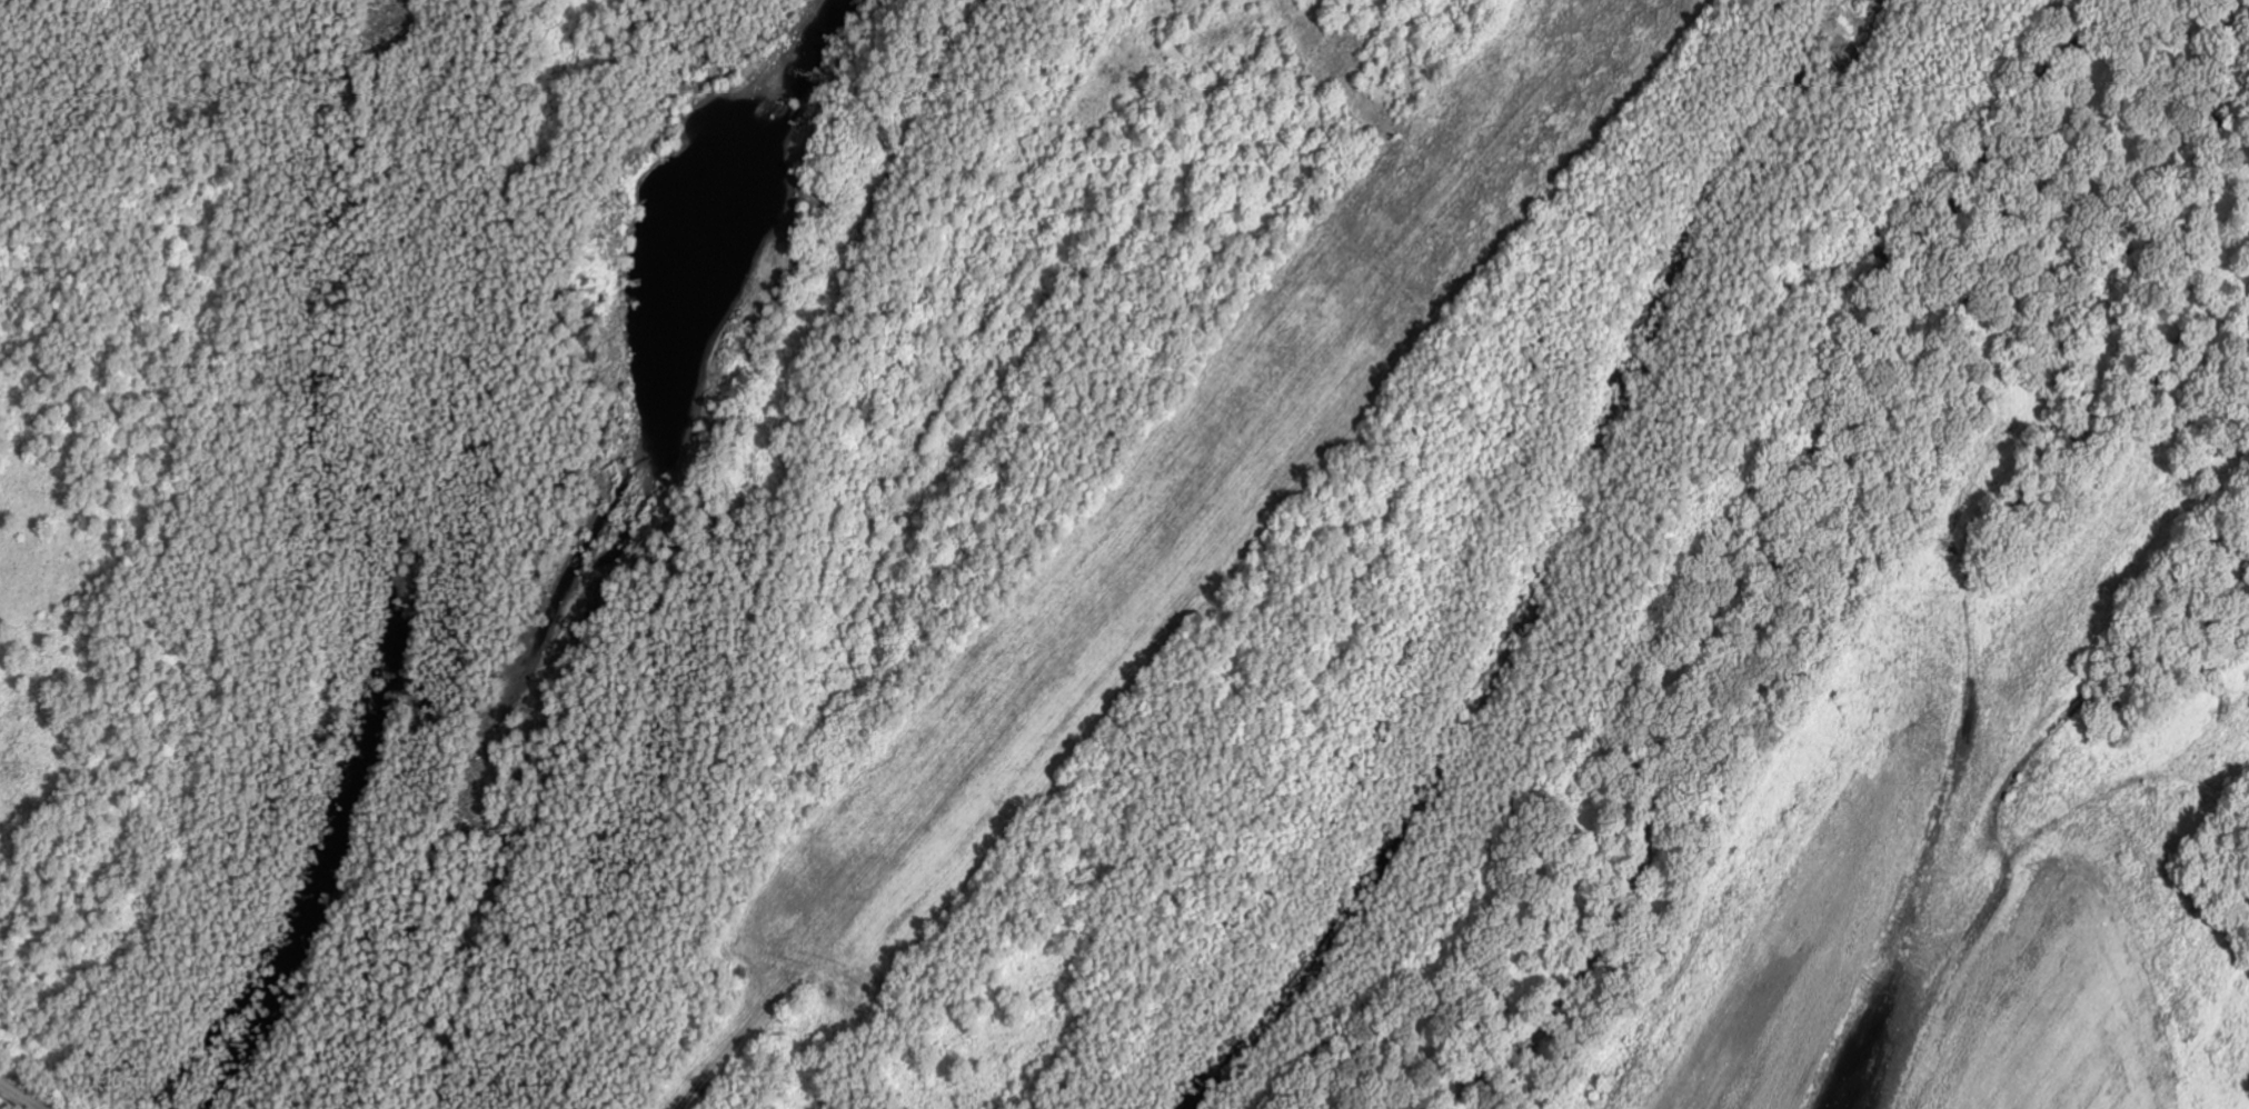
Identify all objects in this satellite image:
road: (22, 1097)

